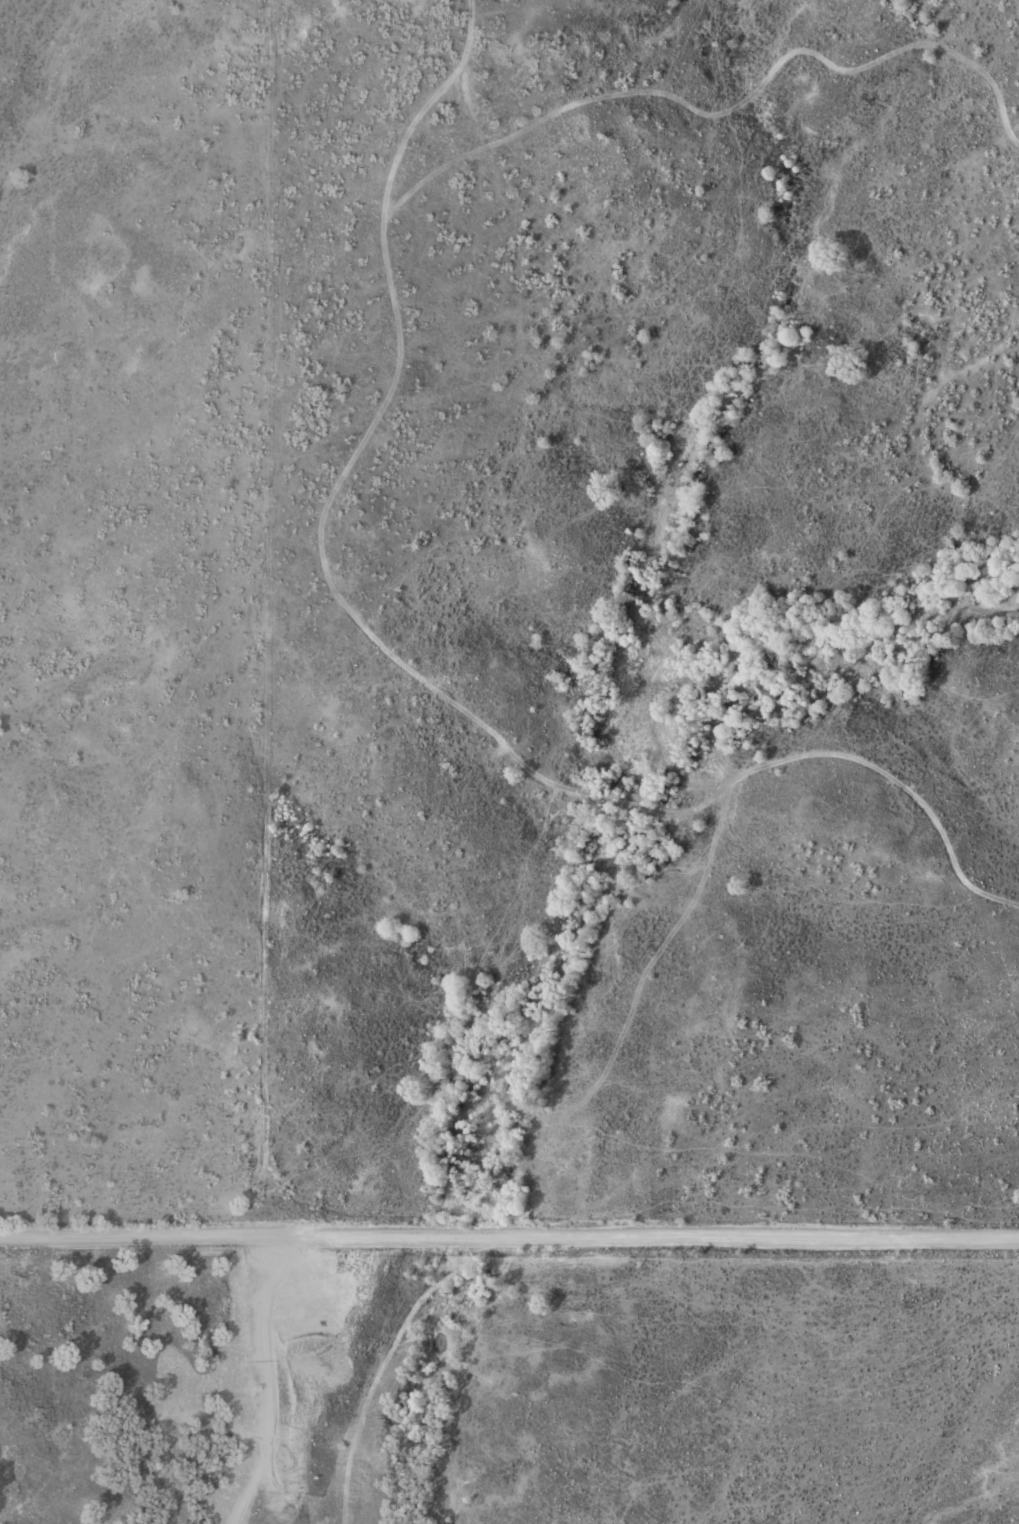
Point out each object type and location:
road: (509, 1237)

